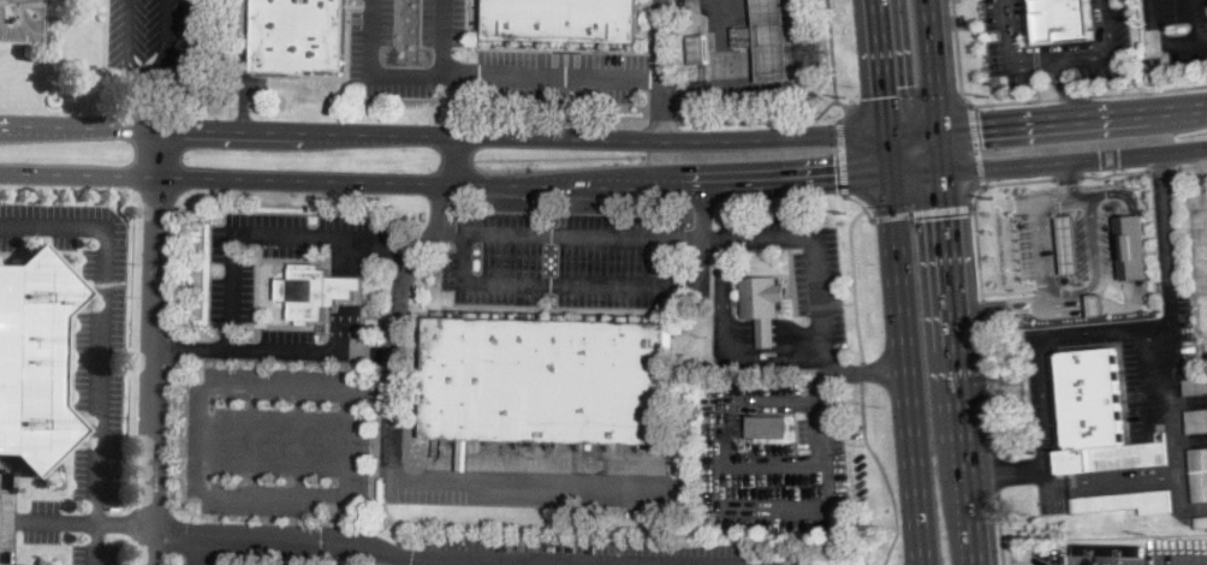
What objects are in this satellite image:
building: (1066, 18)
building: (565, 19)
building: (20, 22)
parking lot: (1111, 24)
parking lot: (1176, 28)
parking lot: (161, 29)
building: (299, 35)
road: (442, 36)
building: (747, 36)
road: (1205, 37)
road: (1176, 40)
building: (774, 41)
road: (1089, 41)
parking lot: (404, 43)
parking lot: (1037, 47)
road: (832, 48)
building: (700, 49)
road: (182, 50)
road: (1011, 52)
road: (1107, 52)
road: (129, 56)
road: (1036, 58)
road: (878, 64)
road: (661, 70)
road: (380, 71)
parking lot: (560, 75)
road: (561, 75)
road: (723, 75)
road: (807, 84)
road: (1039, 85)
road: (940, 87)
road: (1068, 88)
road: (1148, 90)
traffic signals: (881, 95)
road: (1074, 95)
road: (964, 96)
road: (905, 100)
road: (151, 101)
road: (460, 103)
road: (1075, 112)
road: (774, 118)
traffic signals: (979, 121)
road: (914, 126)
road: (441, 135)
road: (975, 143)
road: (153, 153)
road: (1185, 153)
road: (842, 155)
road: (459, 160)
road: (1057, 163)
road: (1193, 163)
road: (1163, 167)
road: (1113, 169)
road: (1066, 173)
traffic signals: (837, 183)
road: (474, 184)
road: (71, 190)
road: (1105, 191)
road: (144, 196)
road: (854, 197)
road: (971, 202)
road: (920, 209)
road: (703, 213)
traffic signals: (952, 215)
parking lot: (37, 221)
road: (1044, 222)
road: (683, 234)
building: (1069, 242)
building: (1131, 245)
road: (1134, 245)
parking lot: (280, 249)
road: (228, 254)
parking lot: (566, 256)
road: (1096, 256)
parking lot: (1200, 257)
parking lot: (797, 261)
road: (579, 282)
road: (855, 284)
building: (316, 291)
road: (345, 292)
road: (982, 303)
building: (1096, 303)
building: (765, 304)
road: (1006, 304)
road: (1104, 308)
road: (100, 320)
road: (397, 328)
road: (1088, 328)
road: (724, 332)
road: (189, 344)
parking lot: (286, 344)
road: (903, 346)
road: (370, 351)
parking lot: (97, 353)
building: (768, 355)
building: (1202, 357)
building: (34, 358)
parking lot: (1153, 365)
road: (965, 368)
road: (857, 369)
road: (151, 370)
road: (862, 373)
building: (548, 380)
road: (989, 381)
road: (220, 382)
parking lot: (1045, 386)
building: (1195, 386)
road: (774, 394)
road: (1177, 403)
parking lot: (769, 408)
building: (1100, 417)
building: (1197, 421)
building: (771, 427)
road: (172, 435)
parking lot: (274, 439)
road: (254, 442)
road: (301, 444)
road: (773, 466)
road: (997, 472)
road: (885, 474)
building: (1199, 474)
parking lot: (778, 483)
road: (830, 483)
road: (537, 486)
building: (1126, 501)
road: (185, 502)
road: (46, 521)
parking lot: (25, 522)
road: (121, 522)
building: (1201, 523)
road: (170, 530)
road: (1000, 530)
road: (319, 535)
road: (91, 543)
road: (201, 548)
parking lot: (584, 549)
parking lot: (1177, 549)
building: (1110, 552)
parking lot: (90, 553)
parking lot: (1051, 554)
road: (612, 558)
road: (168, 559)
road: (1185, 561)
building: (30, 564)

